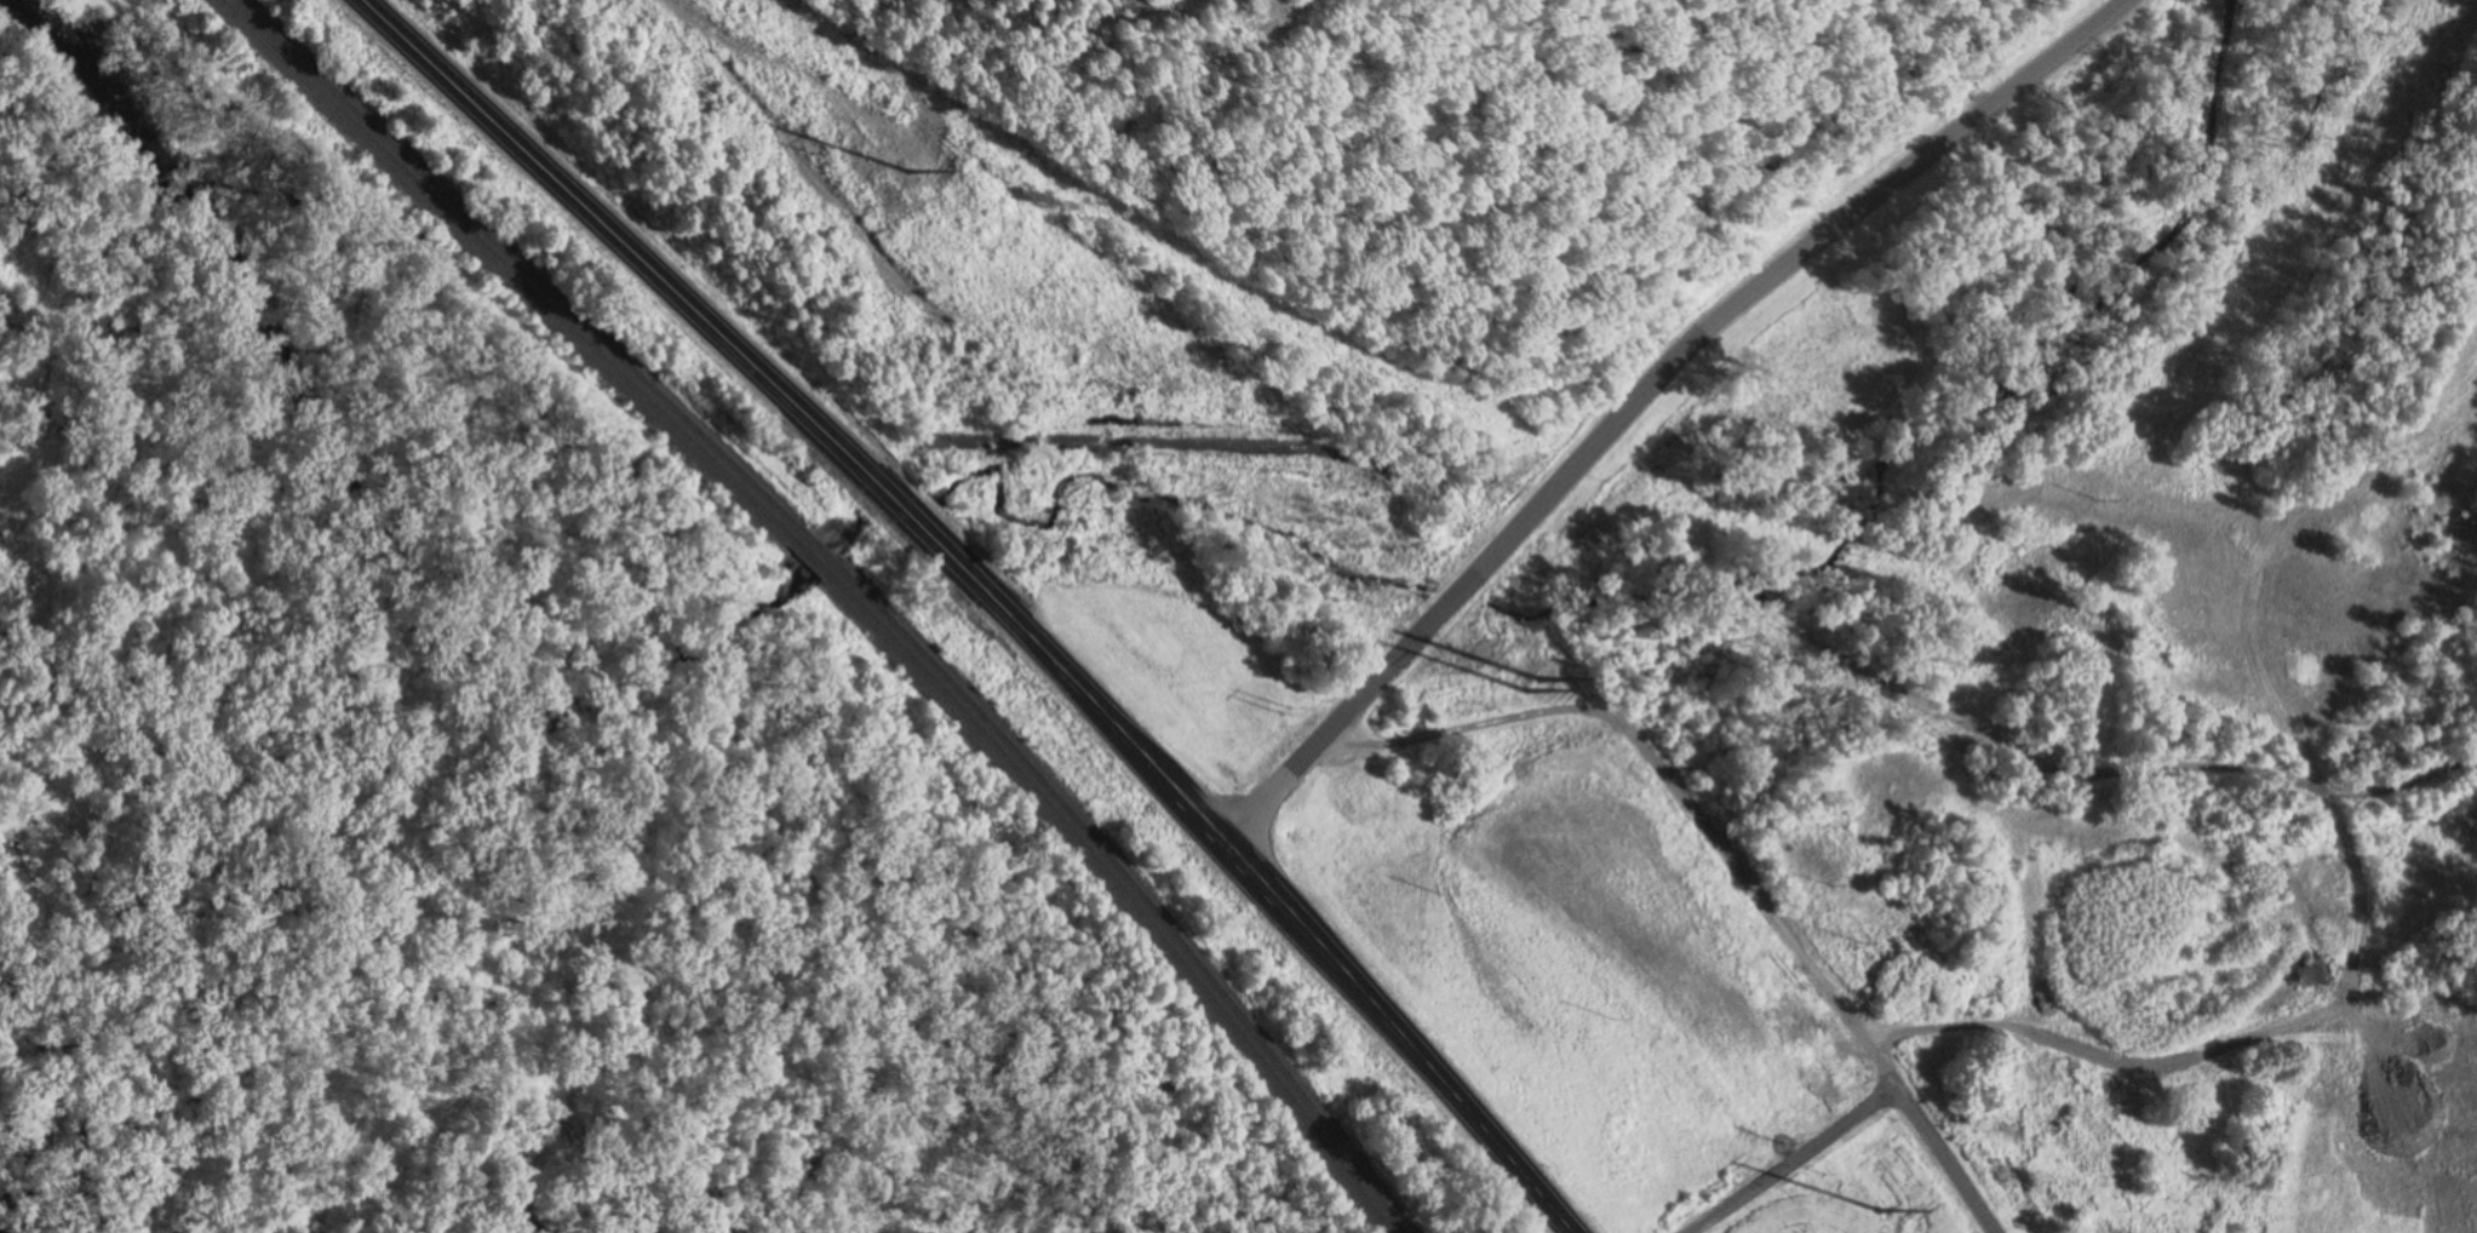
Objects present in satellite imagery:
power tower: (803, 151)
power tower: (908, 172)
power tower: (2277, 247)
railway: (518, 262)
railway: (504, 266)
power tower: (957, 321)
road: (1617, 417)
road: (1300, 451)
power tower: (2102, 499)
railway: (818, 544)
railway: (809, 552)
road: (991, 592)
power tower: (1539, 676)
power tower: (1526, 686)
power tower: (1286, 709)
power tower: (1928, 749)
road: (1673, 779)
power tower: (1834, 884)
railway: (1135, 885)
railway: (1123, 890)
power tower: (1440, 890)
power tower: (1864, 941)
power tower: (1613, 1017)
power tower: (1783, 1142)
road: (1791, 1162)
road: (1944, 1162)
power tower: (1881, 1208)

